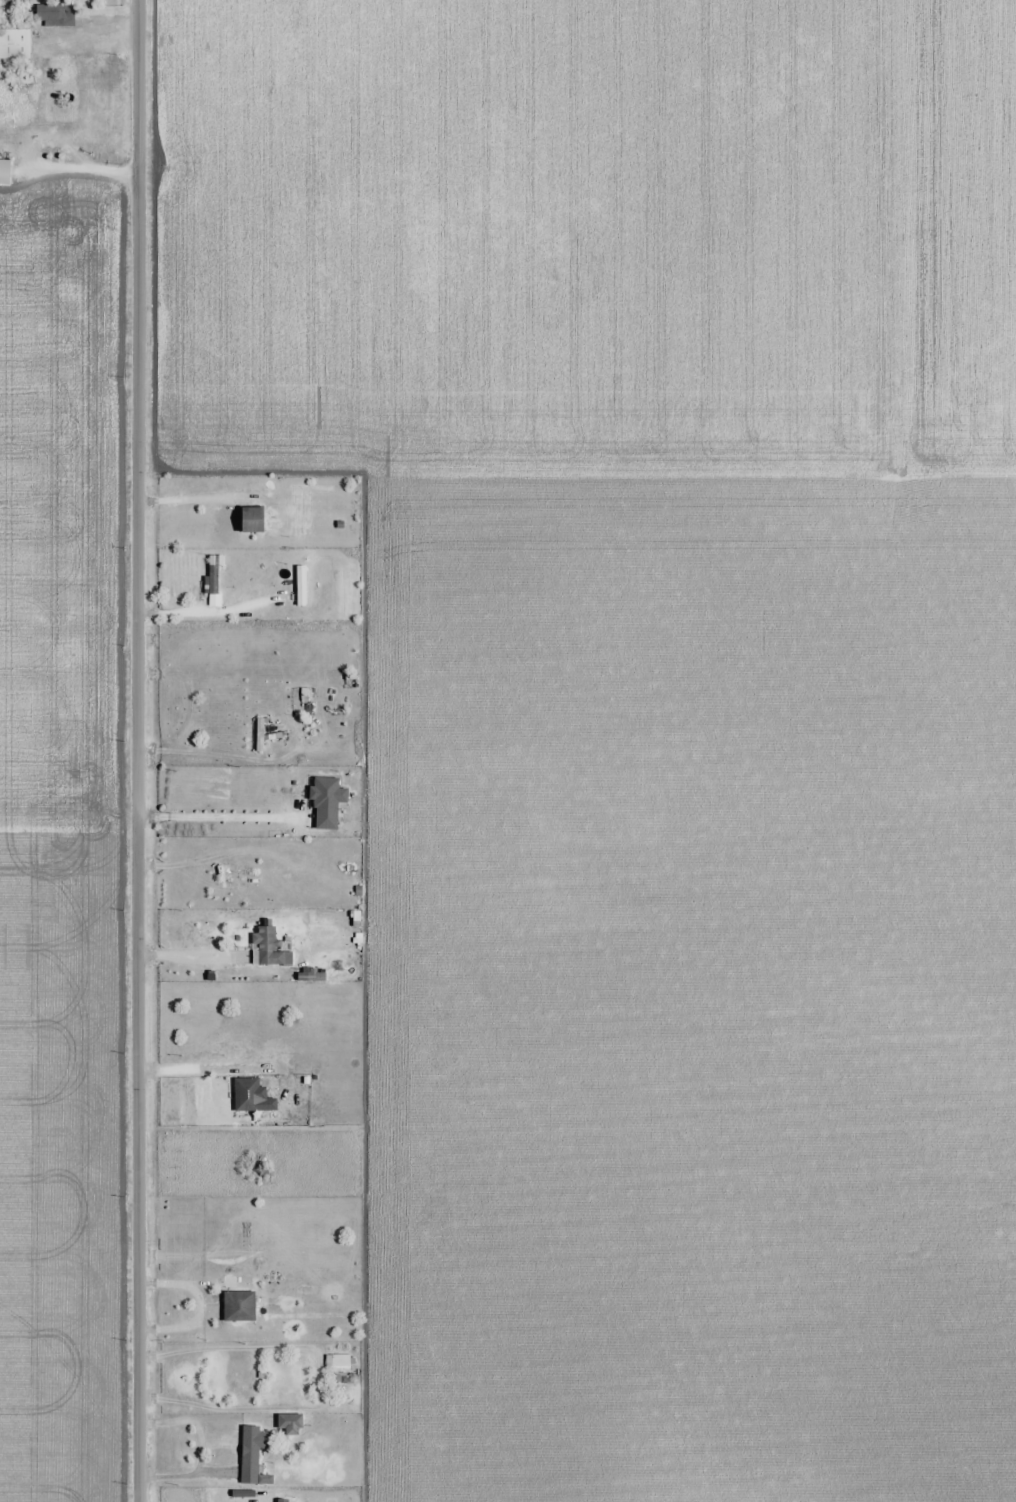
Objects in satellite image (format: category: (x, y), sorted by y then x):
building: (53, 15)
building: (14, 44)
building: (19, 77)
building: (4, 171)
building: (250, 520)
building: (212, 575)
building: (300, 586)
road: (138, 751)
building: (326, 803)
building: (269, 881)
building: (269, 949)
building: (246, 1095)
building: (261, 1168)
building: (238, 1306)
road: (231, 1350)
building: (342, 1360)
building: (289, 1422)
building: (253, 1456)
road: (186, 1478)
building: (281, 1501)

